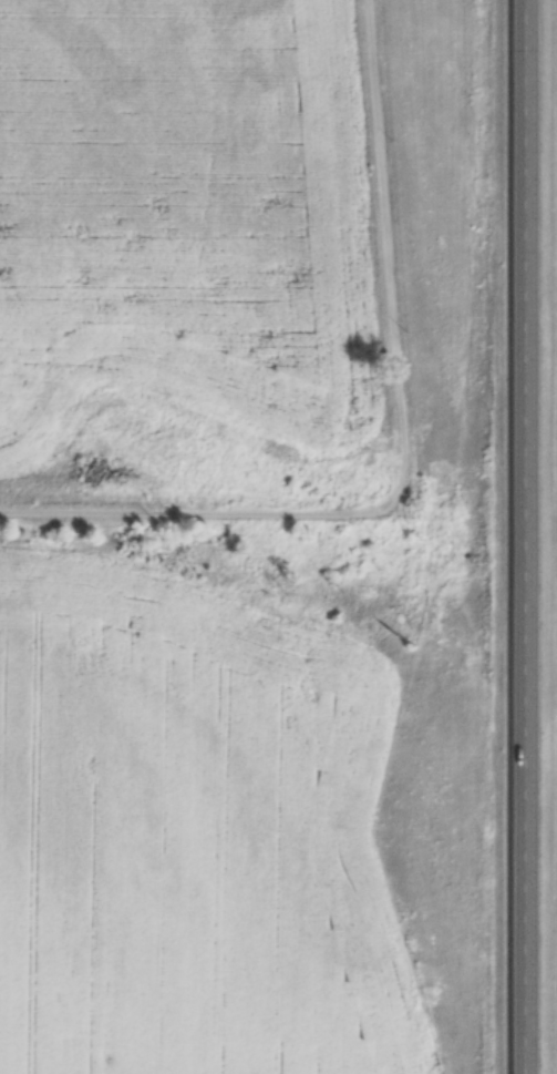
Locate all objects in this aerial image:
road: (200, 512)
road: (517, 536)

